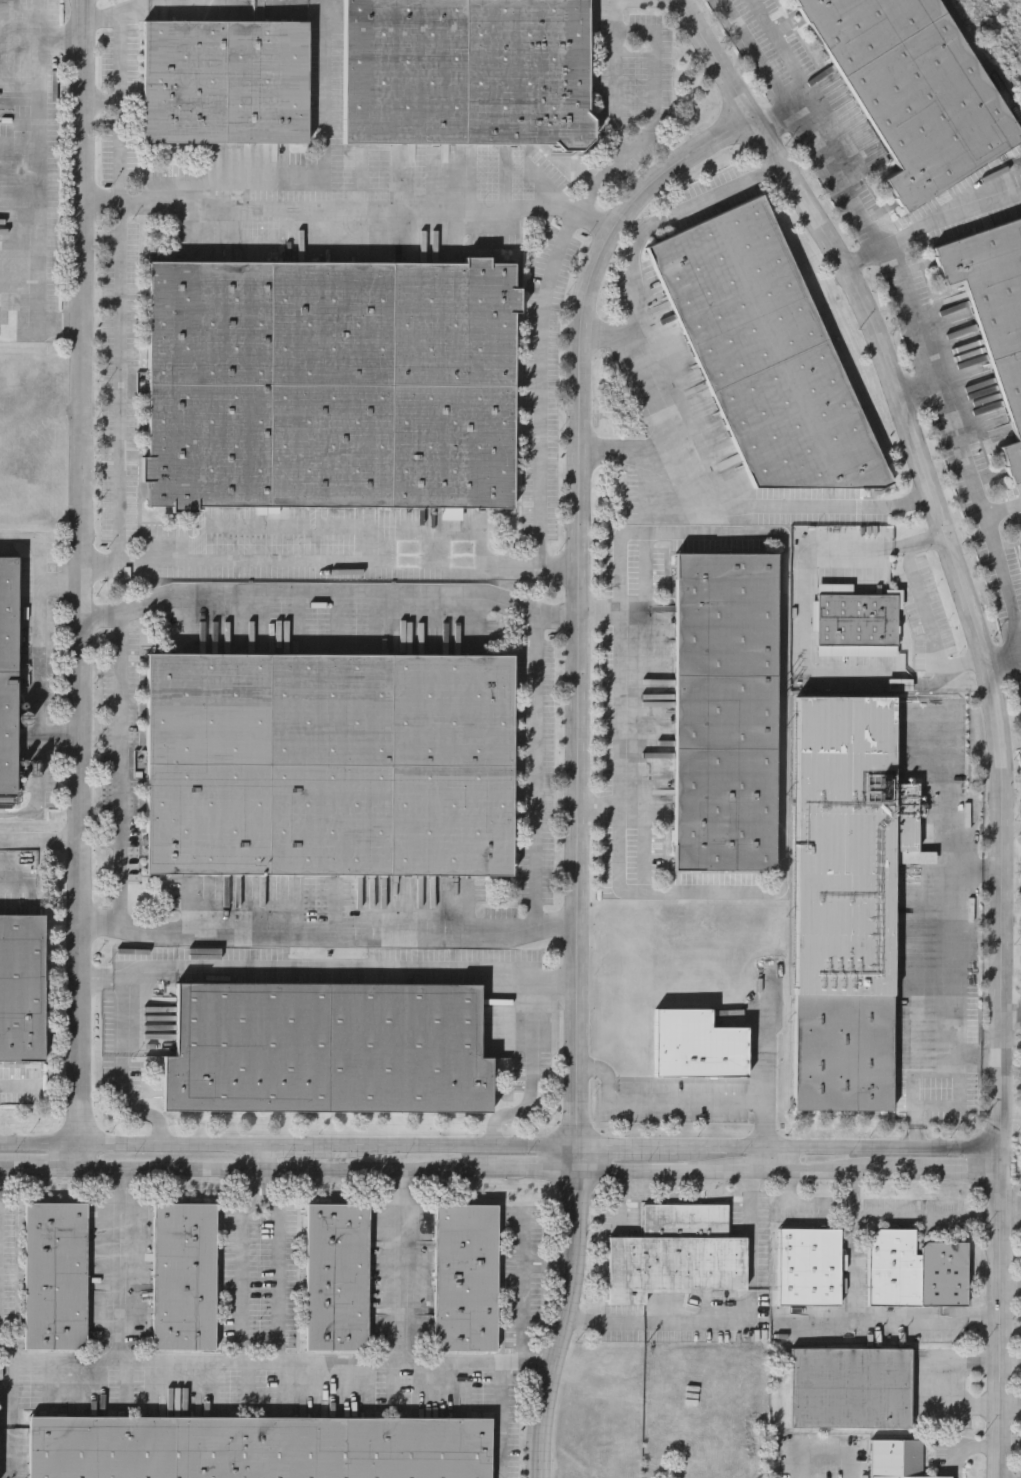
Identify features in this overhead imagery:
building: (179, 1)
road: (259, 6)
road: (215, 12)
road: (612, 15)
road: (101, 20)
road: (41, 38)
road: (653, 48)
road: (757, 51)
road: (795, 71)
building: (472, 77)
building: (230, 85)
building: (913, 89)
road: (100, 102)
road: (120, 112)
road: (326, 141)
building: (6, 145)
road: (845, 170)
road: (40, 181)
road: (100, 204)
road: (349, 207)
road: (955, 208)
building: (6, 215)
road: (593, 219)
road: (633, 271)
road: (907, 286)
building: (993, 313)
road: (61, 323)
road: (26, 335)
road: (605, 336)
building: (772, 359)
building: (339, 393)
road: (976, 489)
road: (741, 506)
road: (1003, 511)
road: (39, 543)
road: (329, 559)
road: (60, 584)
road: (81, 584)
road: (802, 588)
road: (349, 591)
road: (577, 593)
road: (599, 613)
building: (856, 620)
road: (930, 626)
road: (1002, 655)
building: (7, 678)
road: (993, 703)
building: (724, 711)
road: (38, 715)
road: (620, 715)
road: (121, 746)
road: (536, 768)
building: (337, 775)
road: (597, 810)
road: (946, 821)
road: (40, 841)
building: (843, 901)
road: (327, 927)
road: (324, 965)
road: (96, 980)
road: (122, 980)
road: (947, 987)
building: (23, 998)
road: (1012, 1015)
road: (120, 1016)
building: (697, 1044)
road: (530, 1048)
building: (325, 1051)
road: (765, 1059)
road: (914, 1093)
road: (680, 1102)
road: (130, 1105)
road: (128, 1145)
road: (296, 1146)
road: (455, 1146)
road: (627, 1146)
road: (840, 1148)
road: (258, 1157)
road: (577, 1157)
road: (757, 1159)
road: (40, 1169)
road: (277, 1169)
road: (526, 1169)
road: (652, 1169)
road: (742, 1171)
road: (827, 1171)
road: (950, 1171)
road: (787, 1189)
road: (857, 1191)
road: (621, 1200)
road: (1011, 1203)
road: (888, 1221)
building: (676, 1254)
road: (550, 1256)
road: (277, 1260)
road: (120, 1264)
road: (401, 1266)
building: (809, 1266)
road: (549, 1267)
building: (915, 1269)
road: (239, 1274)
building: (56, 1275)
building: (185, 1275)
building: (338, 1276)
building: (467, 1276)
road: (524, 1287)
road: (852, 1292)
road: (726, 1317)
road: (565, 1324)
road: (886, 1328)
road: (185, 1361)
road: (958, 1379)
building: (850, 1387)
road: (1010, 1406)
building: (259, 1448)
road: (966, 1448)
road: (825, 1449)
building: (896, 1459)

